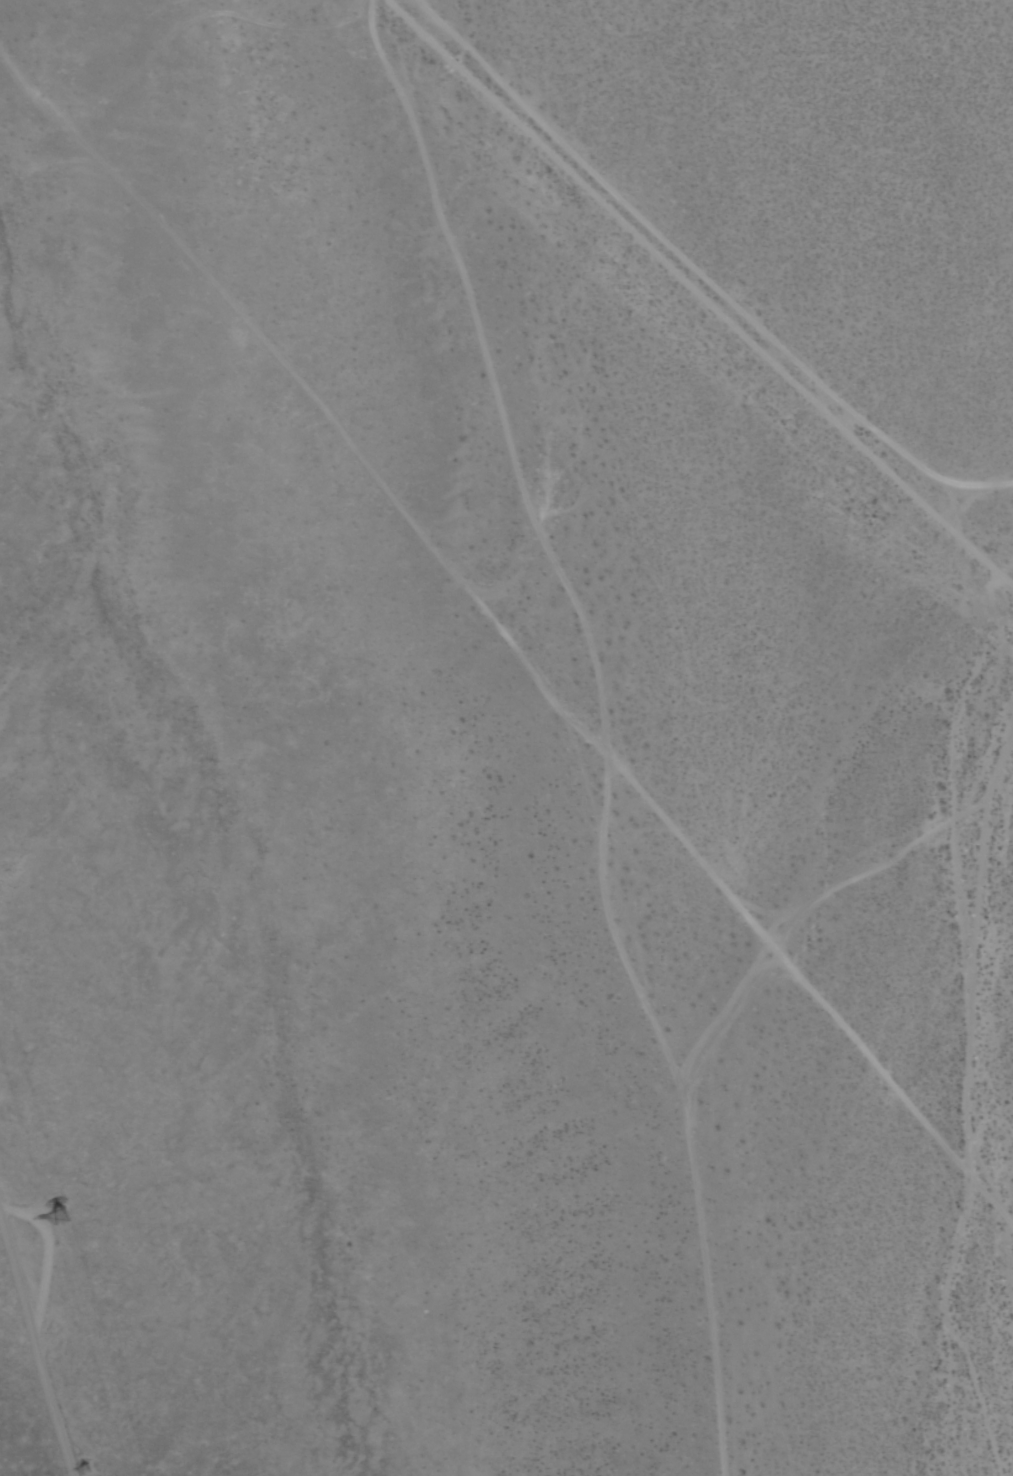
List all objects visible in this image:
power tower: (59, 1216)
power tower: (94, 1475)

